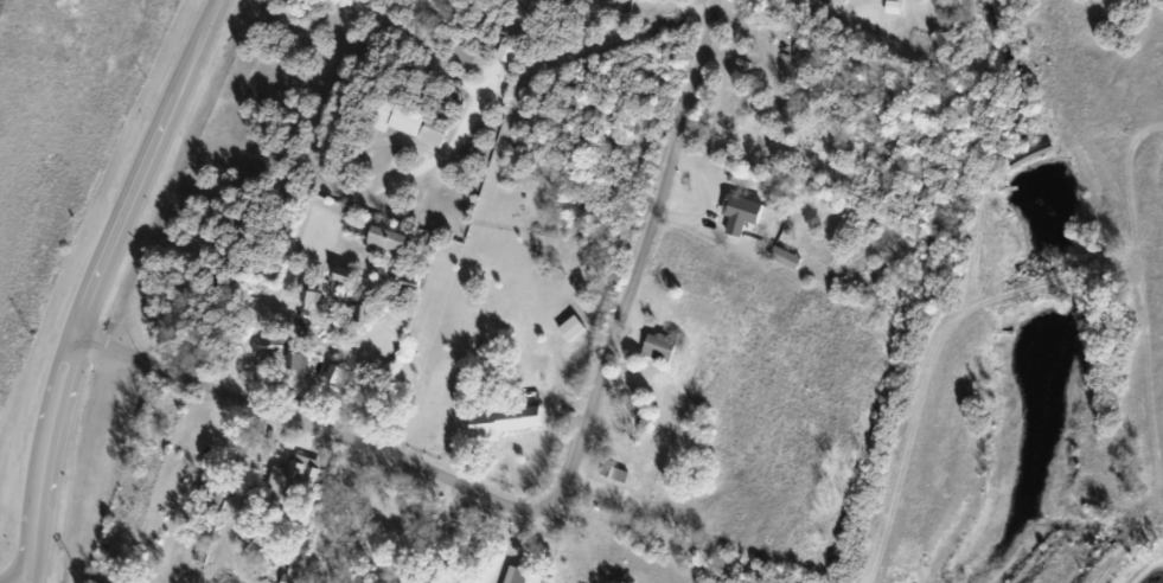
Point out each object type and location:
park: (701, 0)
building: (890, 6)
building: (395, 118)
building: (429, 134)
road: (703, 203)
building: (735, 212)
building: (384, 236)
building: (781, 257)
building: (338, 276)
road: (96, 282)
building: (407, 282)
building: (306, 299)
building: (358, 313)
building: (568, 327)
building: (268, 344)
building: (656, 347)
building: (294, 360)
building: (331, 373)
road: (558, 382)
building: (504, 421)
road: (487, 450)
building: (300, 473)
building: (613, 474)
road: (558, 491)
building: (209, 493)
road: (618, 498)
road: (454, 512)
building: (248, 542)
road: (511, 543)
building: (520, 577)
building: (433, 579)
building: (453, 582)

